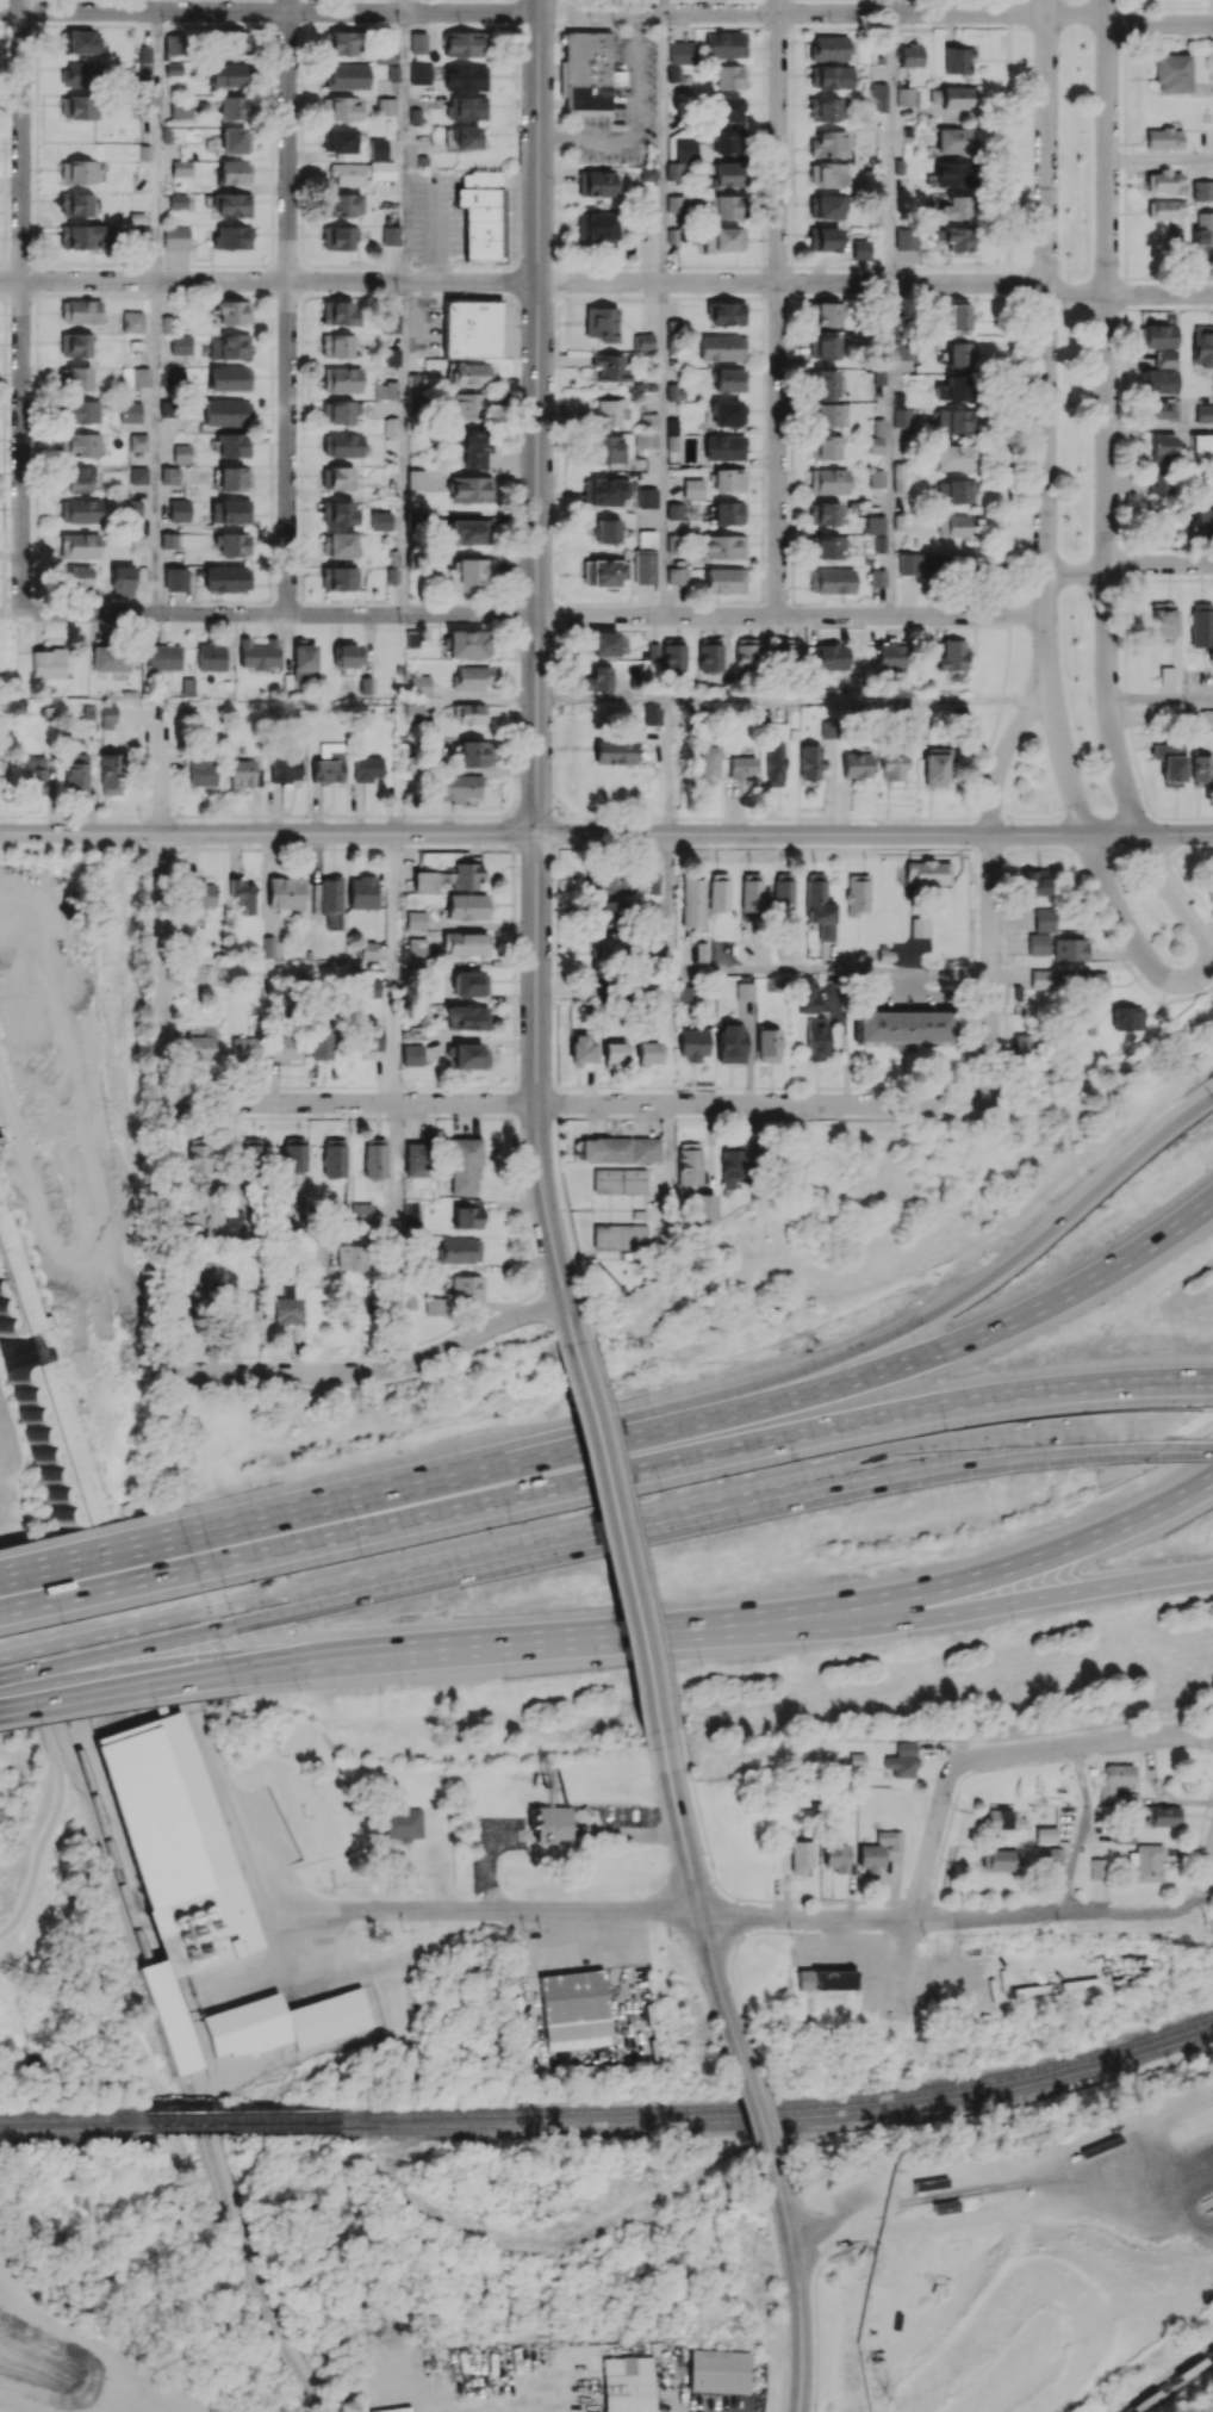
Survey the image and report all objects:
road: (132, 5)
road: (408, 6)
road: (664, 6)
road: (892, 6)
road: (606, 13)
building: (174, 41)
building: (80, 42)
building: (236, 42)
building: (340, 43)
building: (418, 43)
building: (464, 43)
building: (726, 44)
building: (829, 48)
building: (682, 52)
building: (385, 55)
building: (910, 55)
building: (958, 60)
building: (145, 62)
building: (173, 68)
building: (589, 69)
building: (393, 73)
building: (419, 73)
building: (674, 73)
building: (1172, 73)
building: (80, 74)
building: (228, 74)
building: (348, 76)
building: (729, 76)
building: (831, 76)
building: (465, 77)
building: (879, 94)
building: (906, 95)
building: (952, 97)
building: (79, 106)
building: (386, 106)
building: (181, 107)
building: (231, 107)
building: (340, 107)
building: (467, 108)
building: (727, 108)
building: (823, 108)
road: (633, 124)
building: (465, 137)
building: (1163, 138)
building: (235, 139)
building: (340, 139)
building: (954, 139)
building: (726, 141)
building: (828, 143)
road: (157, 145)
road: (406, 147)
road: (664, 147)
road: (892, 147)
building: (378, 148)
building: (686, 150)
road: (1159, 159)
building: (181, 167)
building: (386, 169)
building: (676, 170)
building: (79, 172)
building: (235, 172)
building: (648, 173)
building: (952, 173)
building: (347, 174)
building: (727, 174)
building: (828, 174)
building: (1164, 181)
building: (598, 182)
building: (1202, 190)
building: (178, 200)
building: (75, 204)
building: (232, 204)
building: (343, 204)
building: (678, 204)
building: (724, 205)
building: (827, 205)
building: (954, 207)
building: (1164, 209)
building: (480, 212)
building: (597, 228)
building: (139, 234)
building: (1202, 234)
building: (390, 235)
building: (85, 236)
building: (176, 236)
building: (232, 236)
building: (338, 237)
building: (907, 237)
building: (954, 237)
building: (721, 238)
building: (825, 238)
building: (861, 249)
road: (606, 281)
road: (21, 305)
road: (287, 306)
road: (1046, 306)
road: (778, 308)
building: (80, 311)
building: (234, 312)
building: (338, 312)
building: (727, 314)
building: (829, 314)
building: (958, 317)
building: (601, 323)
building: (390, 328)
building: (472, 328)
building: (1157, 336)
building: (642, 341)
building: (181, 343)
building: (75, 345)
building: (229, 346)
building: (337, 346)
building: (1202, 346)
building: (722, 347)
building: (825, 347)
road: (539, 348)
building: (906, 348)
building: (958, 353)
building: (392, 356)
building: (1165, 358)
building: (610, 367)
building: (472, 374)
building: (172, 376)
building: (136, 377)
building: (75, 378)
building: (229, 378)
building: (341, 379)
building: (729, 380)
building: (1157, 380)
building: (826, 384)
building: (952, 387)
building: (385, 390)
building: (673, 391)
building: (466, 405)
building: (168, 407)
building: (1162, 409)
building: (82, 411)
building: (130, 411)
building: (340, 411)
building: (606, 411)
building: (226, 413)
building: (728, 413)
building: (1203, 413)
building: (828, 414)
road: (1107, 417)
building: (953, 421)
building: (904, 424)
road: (1159, 428)
building: (645, 440)
building: (138, 441)
building: (672, 442)
building: (342, 444)
building: (80, 445)
building: (231, 445)
building: (876, 445)
building: (1202, 446)
road: (156, 447)
building: (474, 447)
road: (664, 447)
building: (724, 447)
building: (825, 447)
building: (1163, 447)
road: (405, 448)
building: (606, 448)
road: (890, 448)
building: (182, 453)
building: (956, 457)
building: (138, 475)
building: (169, 475)
building: (900, 477)
building: (80, 478)
building: (234, 478)
building: (337, 478)
building: (877, 478)
building: (417, 479)
building: (729, 479)
building: (828, 480)
building: (1158, 482)
building: (693, 488)
building: (471, 489)
building: (957, 490)
building: (604, 491)
building: (647, 497)
building: (132, 508)
building: (81, 510)
building: (180, 510)
building: (230, 510)
building: (674, 510)
building: (338, 513)
building: (728, 513)
building: (825, 513)
building: (1203, 515)
building: (421, 517)
building: (381, 520)
building: (876, 525)
building: (954, 526)
building: (606, 531)
building: (471, 532)
building: (647, 539)
building: (169, 540)
building: (139, 541)
building: (234, 544)
building: (79, 545)
building: (340, 545)
building: (723, 546)
building: (826, 546)
building: (952, 563)
building: (908, 564)
road: (1128, 564)
building: (645, 566)
building: (603, 572)
building: (468, 573)
building: (76, 576)
building: (677, 576)
building: (877, 577)
building: (175, 578)
building: (226, 578)
building: (340, 578)
building: (724, 579)
building: (122, 581)
building: (832, 581)
road: (534, 615)
building: (1163, 620)
building: (1201, 625)
building: (412, 638)
building: (466, 644)
building: (602, 644)
building: (782, 652)
building: (257, 653)
building: (709, 653)
building: (950, 653)
building: (350, 655)
building: (673, 655)
building: (747, 655)
building: (210, 656)
building: (828, 656)
building: (890, 656)
building: (163, 657)
road: (1046, 657)
building: (105, 659)
building: (304, 662)
building: (48, 663)
building: (1167, 674)
building: (598, 680)
building: (421, 686)
road: (492, 697)
road: (602, 697)
road: (854, 699)
road: (1161, 699)
building: (412, 712)
building: (468, 712)
building: (107, 715)
building: (652, 715)
building: (1206, 718)
building: (825, 728)
road: (1057, 728)
building: (614, 751)
building: (474, 752)
building: (808, 762)
building: (328, 763)
building: (772, 763)
building: (1170, 763)
road: (537, 764)
road: (666, 764)
building: (707, 764)
building: (284, 765)
building: (854, 765)
building: (739, 767)
building: (367, 768)
building: (890, 768)
building: (1201, 768)
building: (201, 769)
building: (933, 769)
building: (2, 771)
building: (75, 773)
building: (110, 773)
building: (244, 774)
building: (36, 775)
building: (460, 787)
road: (1075, 796)
road: (565, 817)
road: (1174, 817)
street lamp: (58, 819)
road: (1114, 831)
road: (268, 832)
road: (602, 832)
road: (877, 833)
road: (1177, 833)
road: (1178, 867)
building: (926, 872)
building: (449, 878)
building: (609, 880)
building: (1032, 882)
building: (654, 883)
road: (991, 891)
building: (362, 892)
building: (717, 892)
building: (749, 892)
building: (783, 892)
building: (242, 893)
building: (857, 893)
building: (285, 894)
building: (201, 895)
building: (329, 900)
building: (692, 900)
building: (467, 906)
building: (819, 906)
road: (161, 909)
building: (608, 912)
building: (415, 919)
building: (1044, 919)
building: (919, 926)
building: (465, 943)
building: (1038, 943)
building: (603, 944)
building: (268, 947)
building: (367, 949)
building: (1070, 949)
building: (416, 950)
building: (701, 951)
road: (393, 967)
road: (760, 972)
building: (1039, 979)
road: (1183, 980)
building: (469, 984)
building: (369, 988)
building: (745, 990)
building: (688, 994)
building: (804, 996)
building: (652, 1005)
building: (468, 1016)
building: (1127, 1017)
building: (901, 1028)
building: (367, 1034)
building: (816, 1037)
building: (319, 1040)
building: (729, 1042)
building: (200, 1043)
building: (692, 1043)
building: (767, 1044)
building: (1024, 1044)
building: (245, 1047)
building: (285, 1048)
building: (581, 1048)
building: (647, 1052)
building: (411, 1054)
building: (614, 1054)
building: (467, 1055)
road: (537, 1087)
road: (1212, 1095)
road: (574, 1103)
road: (947, 1116)
building: (620, 1148)
building: (293, 1155)
building: (198, 1157)
building: (249, 1157)
building: (334, 1158)
building: (374, 1158)
building: (416, 1159)
building: (730, 1165)
building: (461, 1166)
building: (688, 1166)
road: (671, 1167)
building: (0, 1178)
building: (618, 1180)
building: (701, 1205)
building: (361, 1213)
building: (410, 1214)
building: (465, 1214)
building: (653, 1217)
building: (236, 1219)
building: (618, 1236)
road: (354, 1239)
building: (459, 1250)
building: (316, 1257)
building: (352, 1257)
building: (466, 1286)
building: (201, 1288)
building: (13, 1294)
silo: (13, 1294)
road: (958, 1297)
building: (435, 1306)
building: (288, 1307)
building: (254, 1313)
road: (951, 1344)
road: (372, 1369)
road: (1206, 1434)
building: (51, 1440)
silo: (51, 1440)
road: (701, 1453)
road: (423, 1478)
road: (702, 1506)
road: (635, 1529)
road: (617, 1538)
road: (92, 1556)
road: (1026, 1558)
road: (97, 1586)
road: (1024, 1601)
road: (105, 1639)
road: (530, 1641)
road: (113, 1682)
road: (1111, 1741)
road: (57, 1757)
building: (901, 1760)
road: (1026, 1762)
building: (1114, 1779)
building: (1127, 1798)
building: (1161, 1816)
building: (1003, 1819)
building: (400, 1823)
road: (679, 1823)
building: (552, 1824)
road: (1203, 1824)
road: (1082, 1829)
building: (1045, 1834)
building: (1122, 1835)
building: (175, 1841)
building: (879, 1849)
road: (248, 1853)
building: (801, 1855)
building: (1051, 1855)
building: (836, 1858)
building: (997, 1859)
building: (1146, 1862)
road: (926, 1864)
building: (1096, 1868)
road: (433, 1879)
road: (1207, 1880)
road: (730, 1893)
railway: (130, 1895)
road: (792, 1915)
road: (890, 1917)
road: (736, 1920)
road: (810, 1932)
road: (717, 1966)
building: (826, 1979)
building: (574, 2009)
building: (166, 2016)
building: (329, 2017)
building: (245, 2026)
road: (767, 2102)
railway: (780, 2108)
road: (761, 2114)
railway: (243, 2116)
railway: (74, 2118)
railway: (780, 2119)
railway: (213, 2120)
railway: (243, 2127)
railway: (74, 2128)
road: (915, 2208)
railway: (247, 2247)
road: (814, 2280)
building: (882, 2282)
road: (803, 2307)
building: (720, 2370)
railway: (1171, 2383)
building: (629, 2386)

